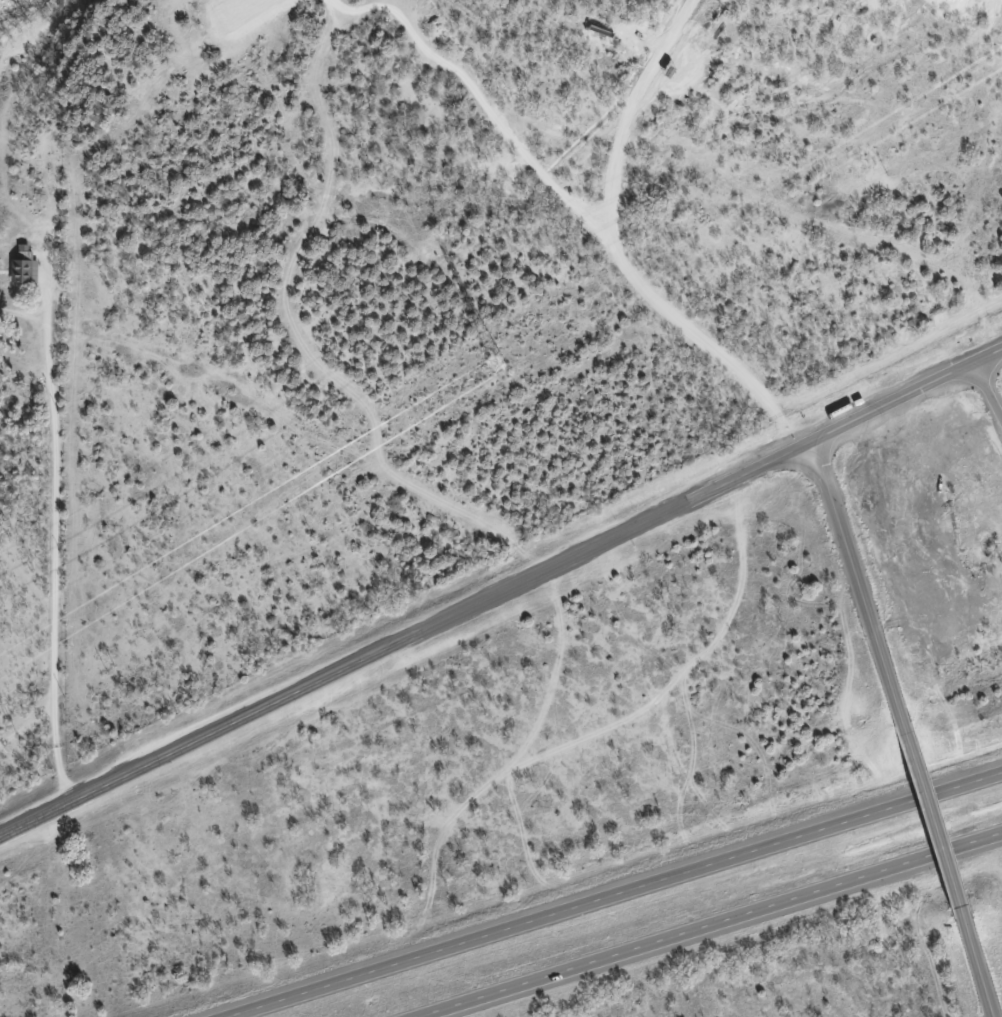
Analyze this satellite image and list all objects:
road: (668, 69)
road: (685, 155)
building: (24, 268)
road: (971, 311)
road: (991, 355)
power tower: (499, 360)
road: (991, 382)
road: (896, 401)
road: (856, 591)
road: (405, 640)
road: (927, 820)
road: (609, 890)
road: (720, 929)
road: (971, 959)

